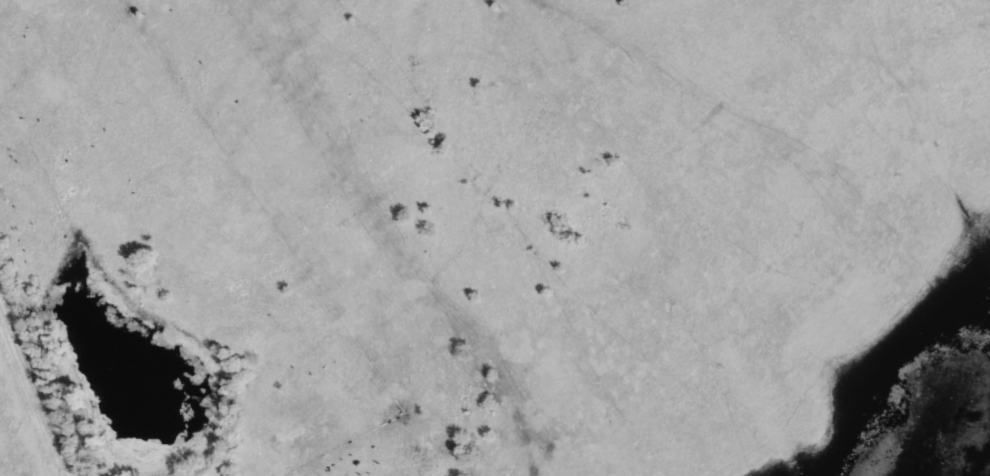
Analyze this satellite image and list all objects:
road: (41, 372)

